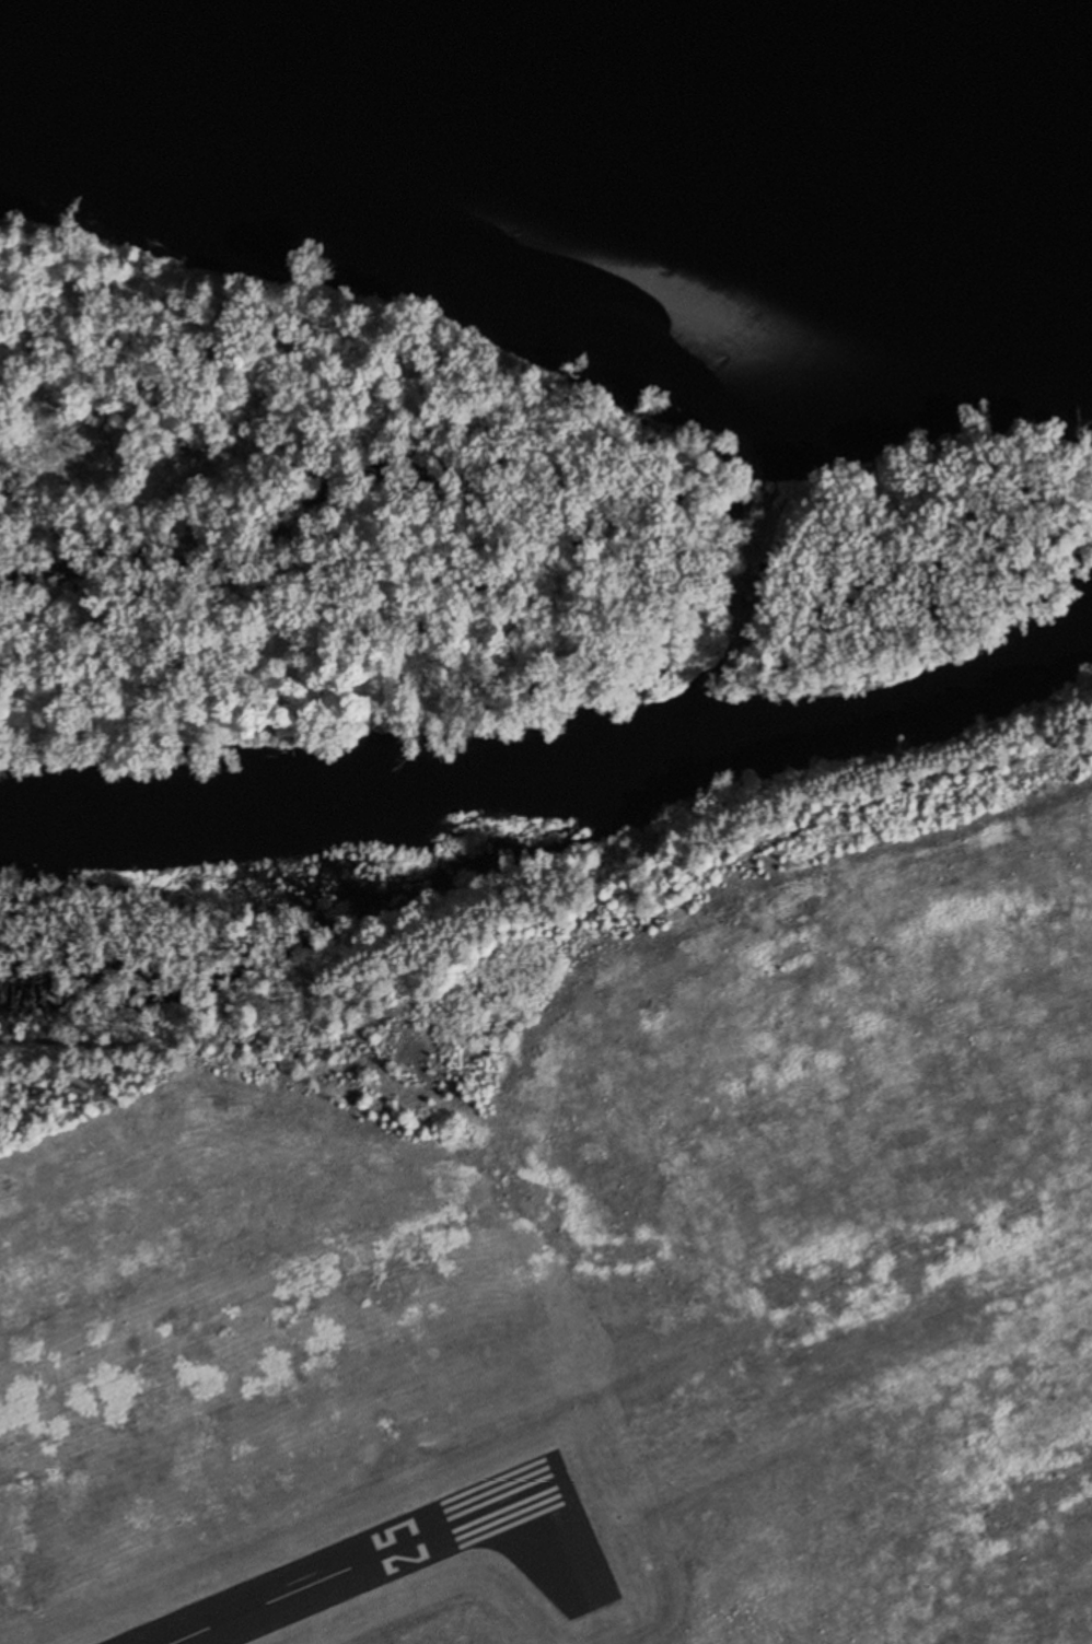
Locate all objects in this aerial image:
river: (923, 31)
airport: (591, 1283)
airport runway: (363, 1561)

